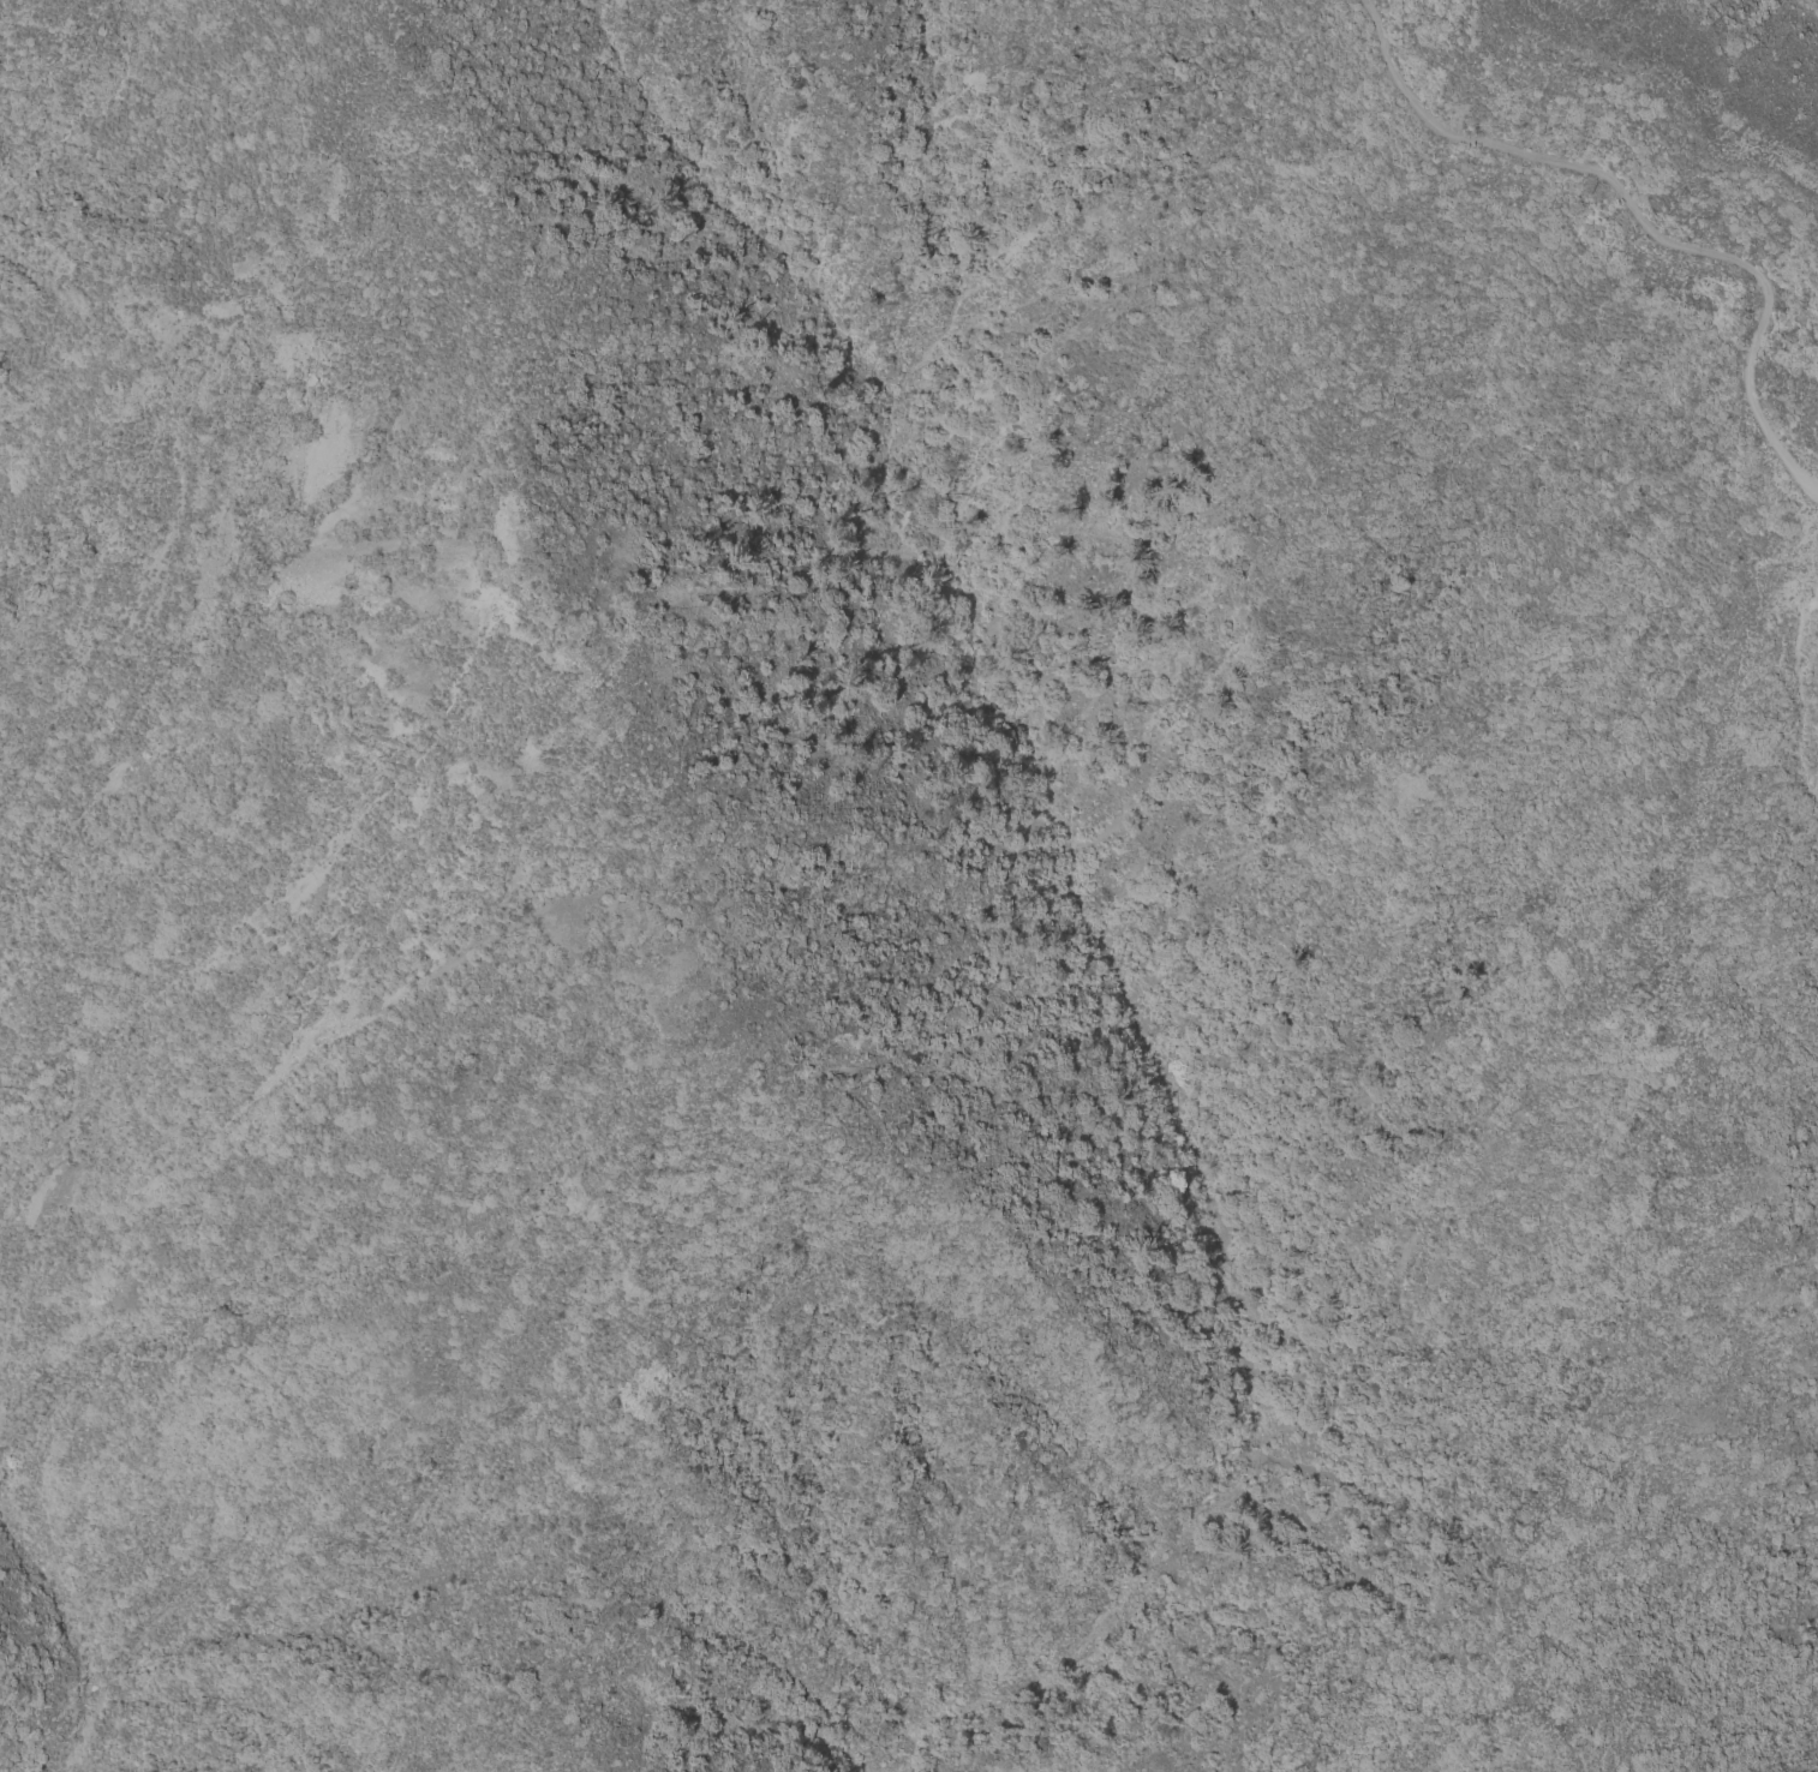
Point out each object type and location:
road: (1643, 216)

